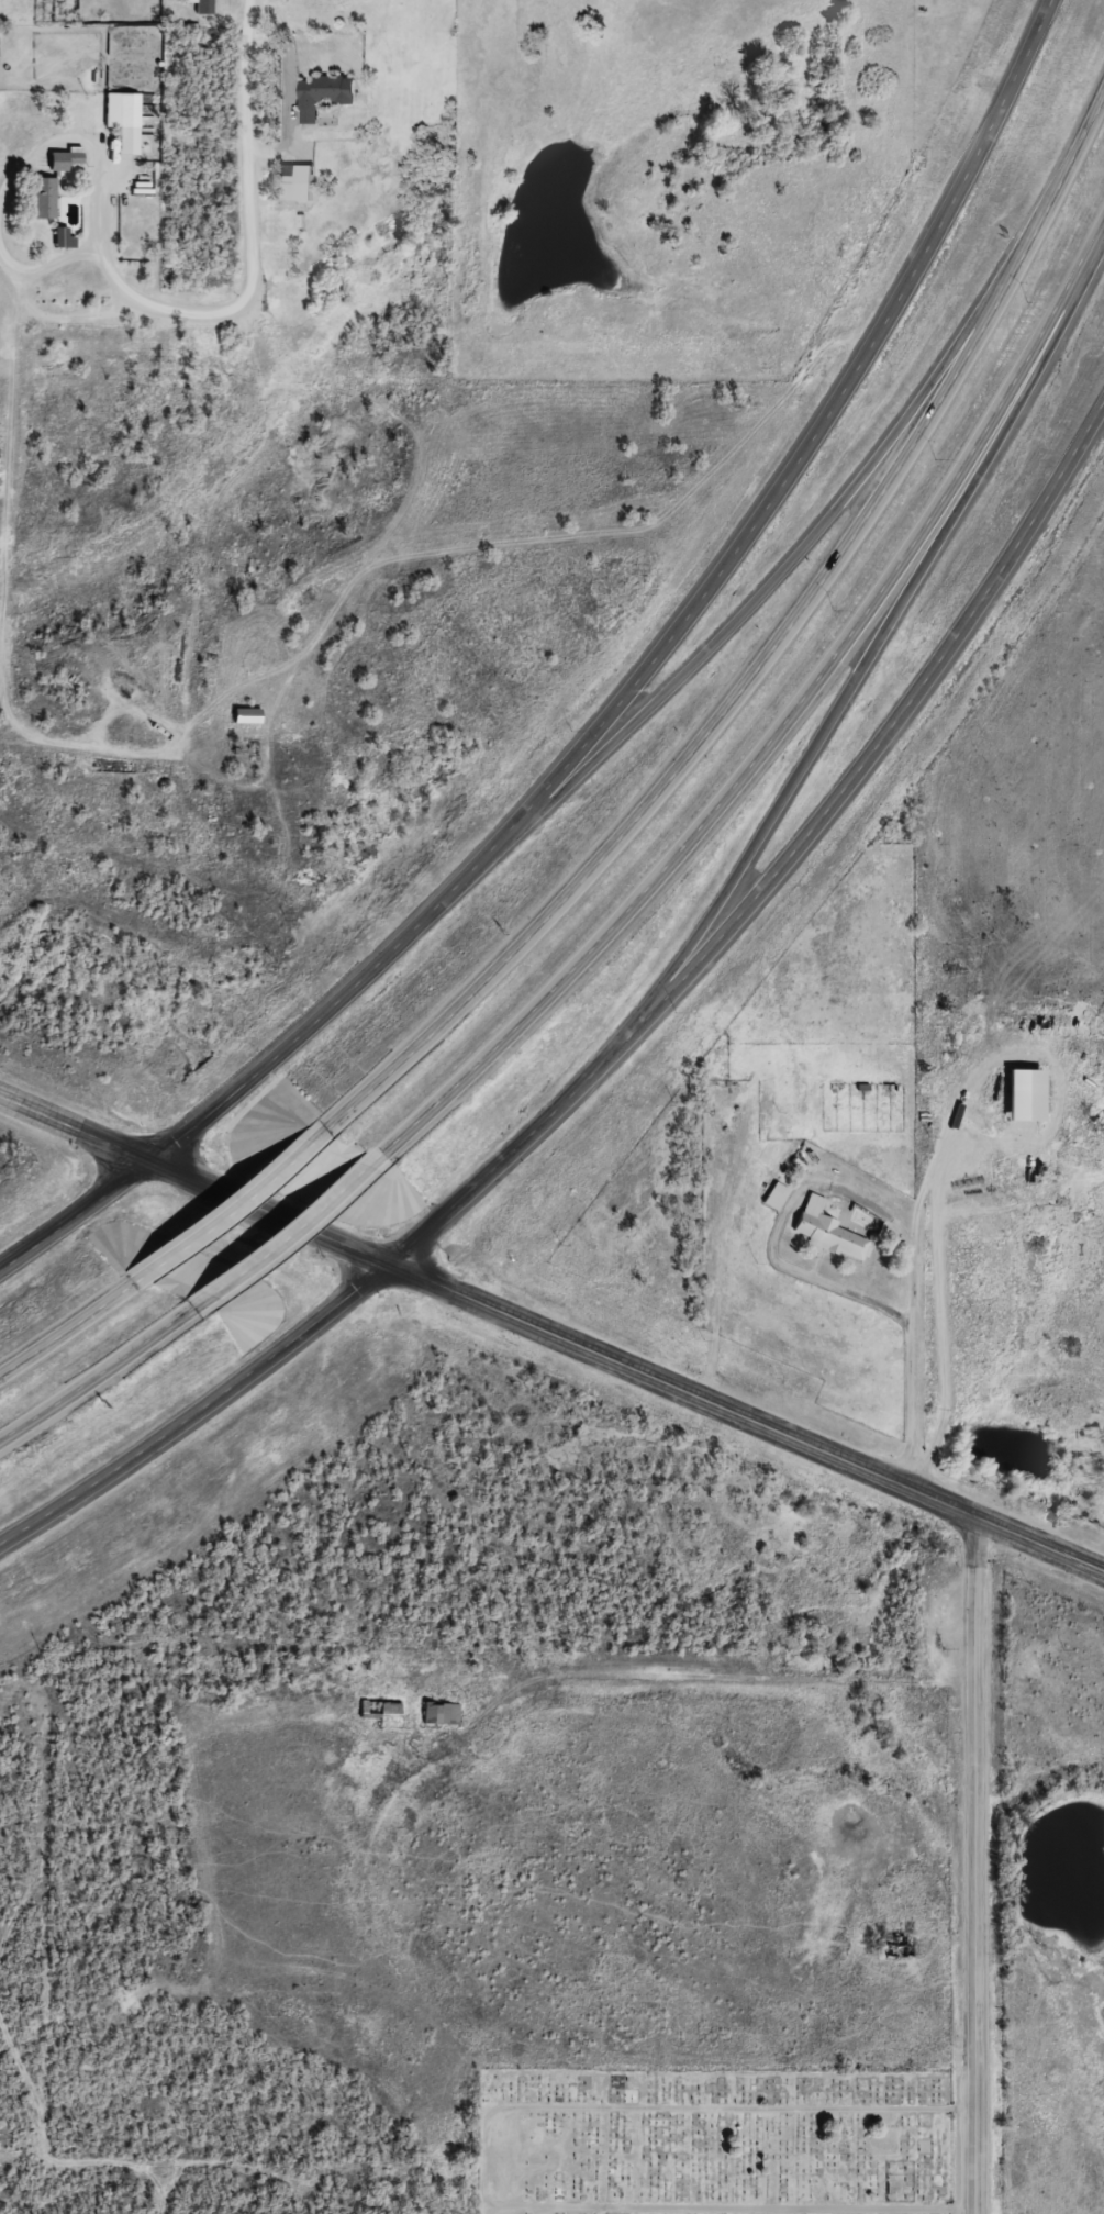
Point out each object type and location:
road: (249, 3)
building: (201, 5)
building: (317, 94)
building: (149, 103)
building: (119, 110)
road: (275, 147)
building: (68, 157)
building: (282, 182)
building: (38, 198)
road: (774, 579)
road: (882, 631)
road: (763, 657)
road: (613, 707)
building: (242, 716)
road: (782, 728)
building: (979, 1025)
road: (622, 1042)
building: (946, 1046)
road: (75, 1130)
building: (771, 1195)
road: (223, 1205)
road: (281, 1231)
building: (826, 1232)
road: (73, 1322)
road: (103, 1369)
road: (626, 1369)
road: (722, 1699)
building: (380, 1711)
building: (437, 1713)
road: (980, 1866)
park: (712, 2140)

